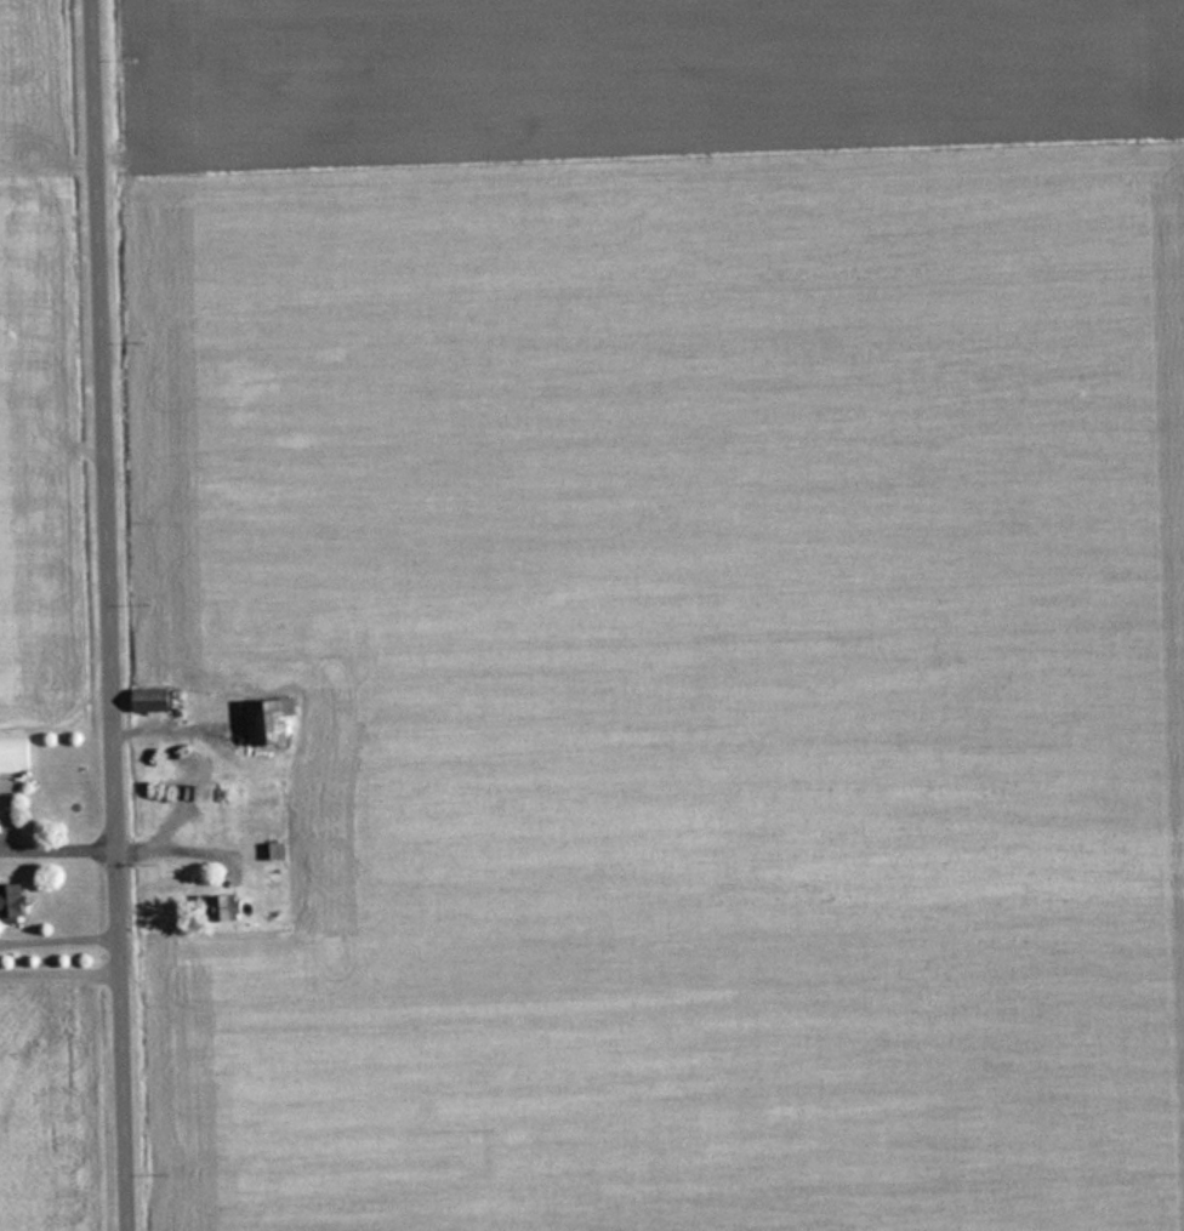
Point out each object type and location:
road: (120, 615)
building: (153, 697)
building: (274, 719)
building: (17, 752)
building: (273, 850)
building: (13, 900)
building: (232, 906)

